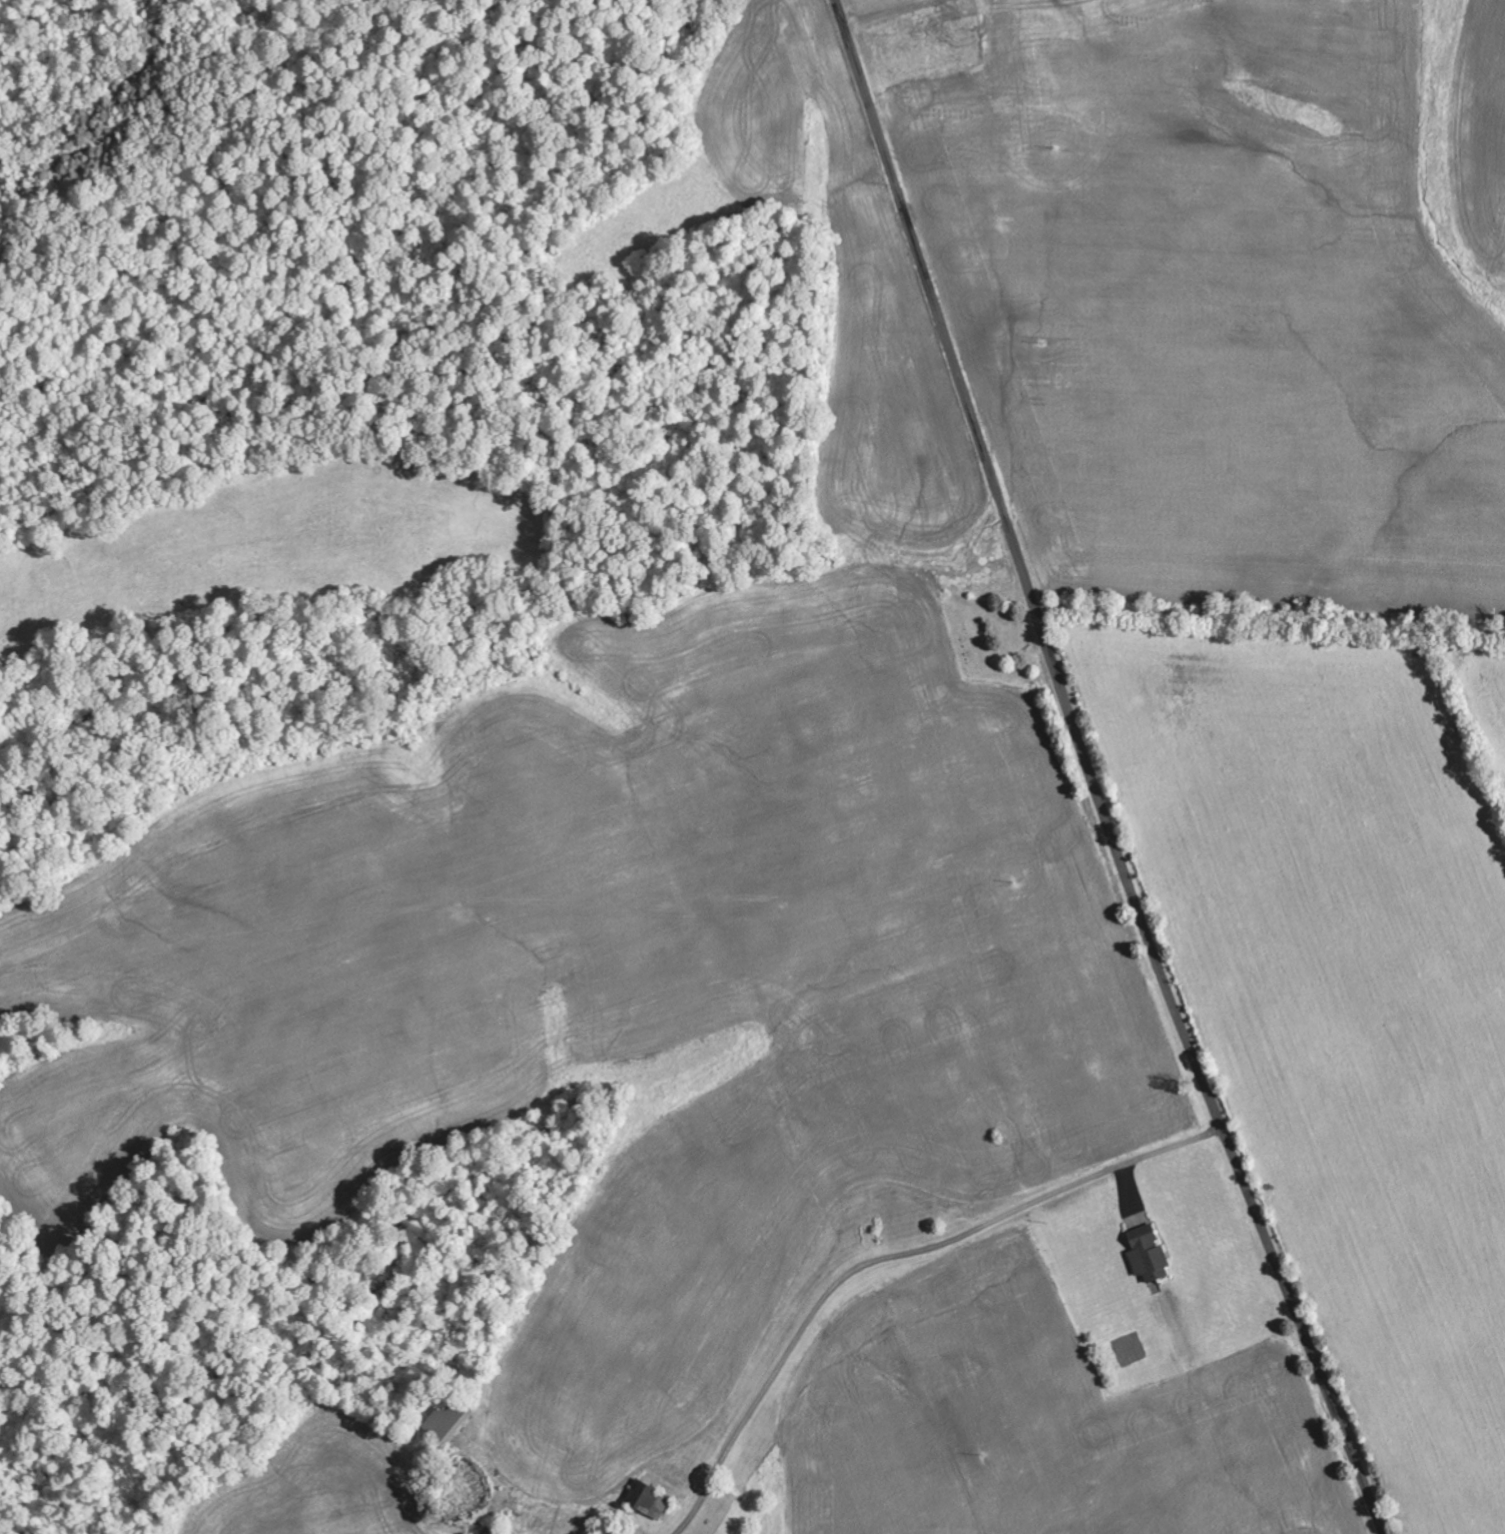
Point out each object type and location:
park: (990, 635)
road: (1093, 773)
building: (1152, 1260)
road: (922, 1287)
building: (447, 1422)
building: (650, 1501)

